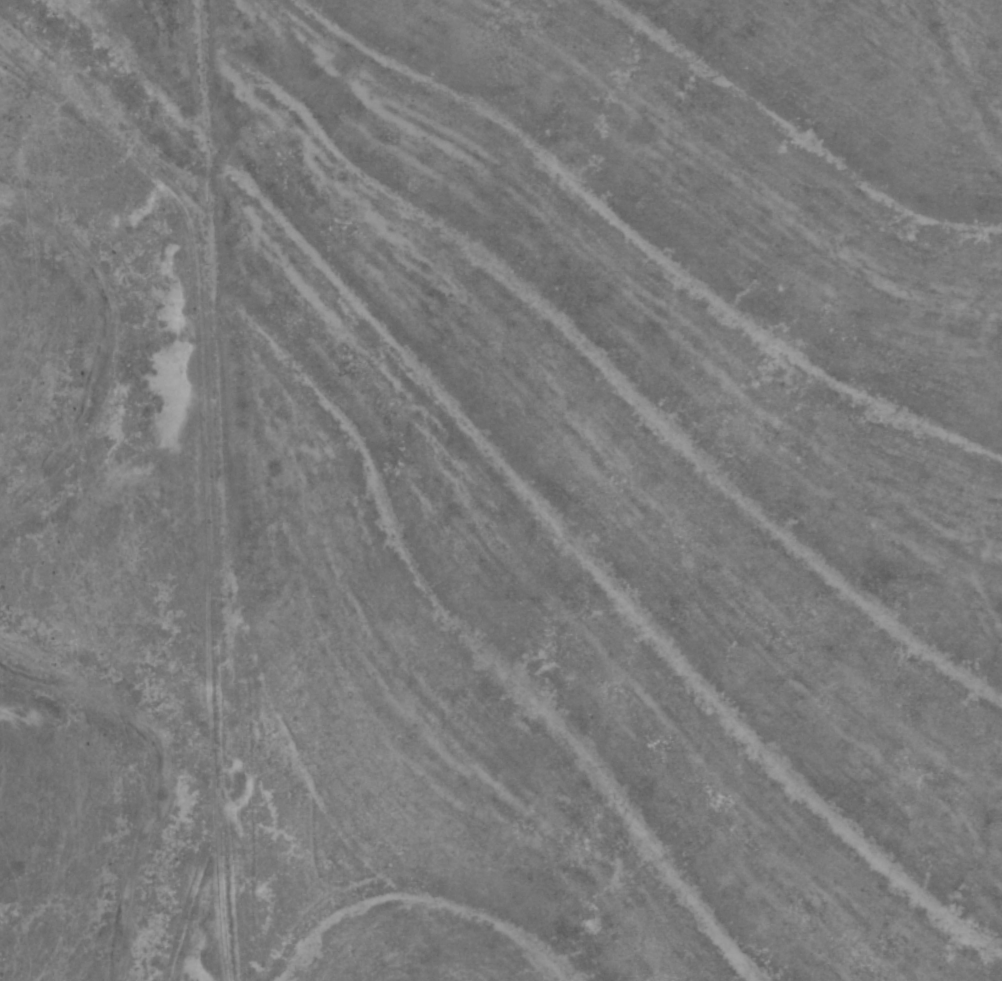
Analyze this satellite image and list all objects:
road: (207, 490)

